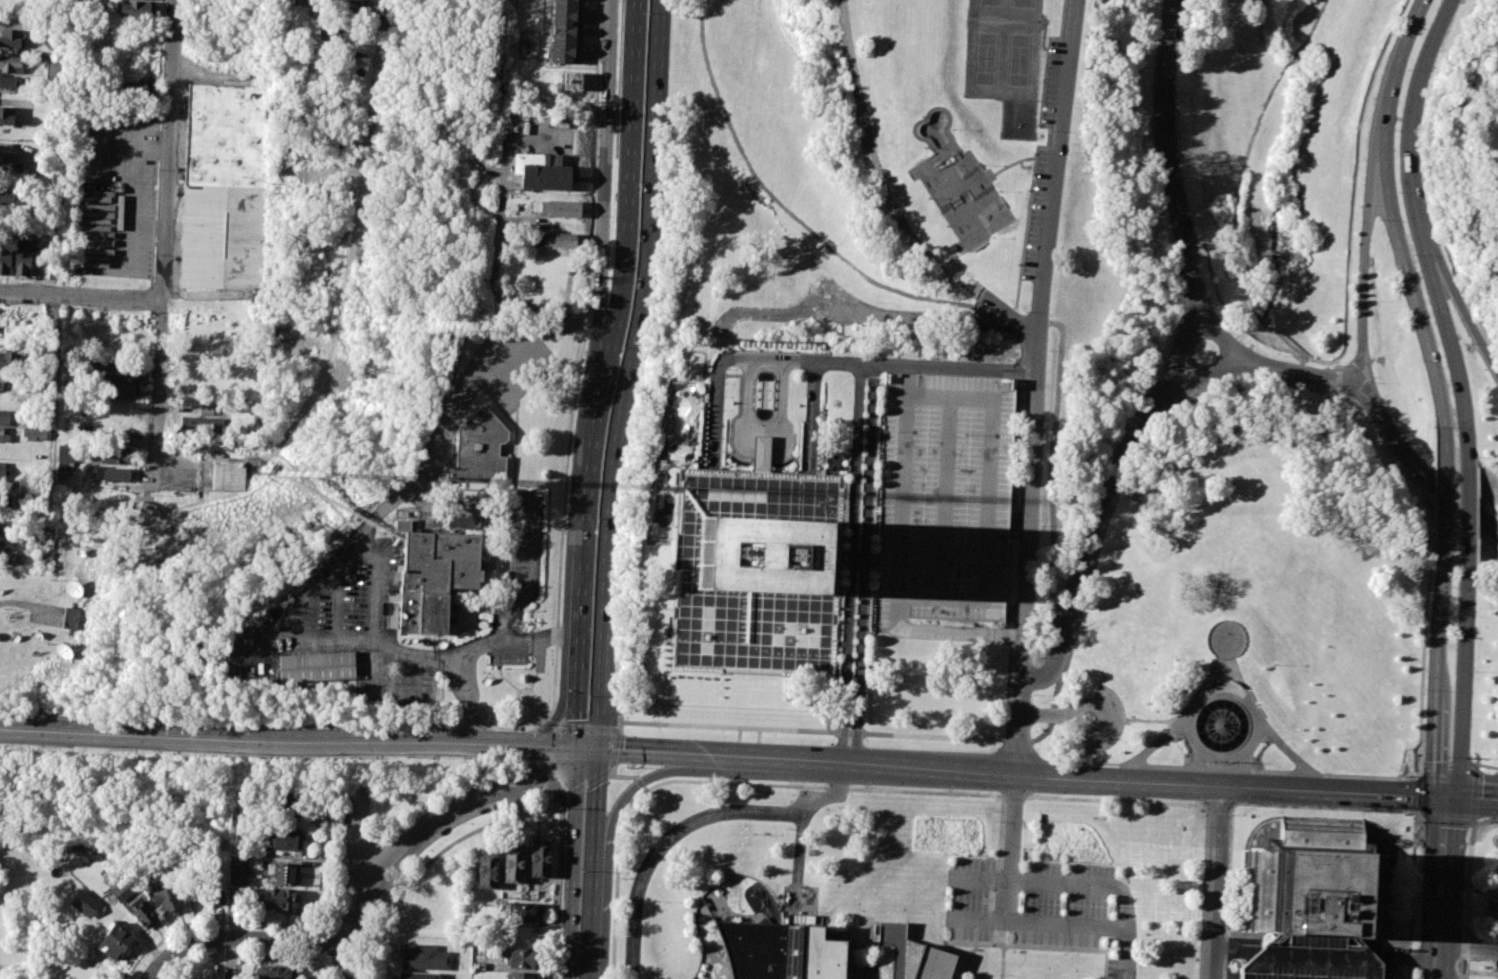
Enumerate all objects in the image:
building: (299, 2)
building: (136, 9)
street lamp: (646, 13)
building: (352, 15)
road: (845, 17)
building: (566, 31)
building: (341, 33)
building: (11, 38)
street lamp: (600, 40)
park: (1004, 49)
road: (380, 53)
building: (11, 64)
street lamp: (1178, 66)
road: (1287, 66)
building: (55, 68)
road: (1395, 68)
street lamp: (1407, 69)
building: (11, 81)
building: (572, 81)
street lamp: (161, 83)
building: (131, 87)
road: (1413, 110)
building: (6, 115)
park: (1020, 119)
street lamp: (1396, 133)
street lamp: (1049, 134)
street lamp: (885, 146)
street lamp: (1492, 154)
street lamp: (1179, 157)
building: (6, 161)
road: (1170, 164)
road: (1496, 164)
building: (543, 170)
street lamp: (157, 171)
road: (1354, 171)
road: (603, 182)
road: (882, 183)
park: (958, 183)
street lamp: (639, 184)
road: (631, 185)
building: (229, 186)
street lamp: (1398, 195)
building: (8, 198)
parking lot: (119, 208)
building: (557, 208)
street lamp: (594, 218)
street lamp: (1378, 219)
road: (806, 227)
building: (557, 239)
road: (163, 241)
street lamp: (1198, 247)
street lamp: (1412, 254)
building: (5, 257)
street lamp: (154, 257)
building: (23, 259)
road: (1365, 262)
road: (1245, 278)
road: (1411, 283)
road: (201, 295)
road: (1459, 296)
road: (81, 298)
street lamp: (1368, 300)
street lamp: (1, 304)
road: (992, 305)
street lamp: (61, 309)
street lamp: (149, 312)
street lamp: (1024, 312)
street lamp: (1222, 315)
park: (1155, 330)
road: (1449, 339)
road: (1038, 340)
road: (1180, 343)
street lamp: (1168, 346)
street lamp: (623, 347)
street lamp: (1282, 353)
street lamp: (1049, 355)
building: (6, 359)
road: (1229, 359)
road: (824, 361)
road: (579, 362)
road: (1337, 362)
road: (632, 364)
road: (477, 372)
building: (119, 373)
road: (1297, 373)
road: (1337, 378)
road: (55, 379)
building: (4, 382)
street lamp: (1377, 382)
street lamp: (167, 383)
parking lot: (479, 387)
building: (118, 390)
road: (1335, 391)
street lamp: (1195, 393)
road: (1359, 406)
building: (4, 417)
road: (813, 417)
building: (199, 425)
building: (29, 431)
road: (1145, 433)
building: (4, 435)
street lamp: (1044, 437)
road: (762, 439)
street lamp: (1142, 446)
street lamp: (163, 448)
building: (479, 450)
building: (66, 453)
building: (761, 453)
building: (117, 454)
road: (1419, 470)
building: (2, 471)
building: (114, 473)
building: (227, 475)
road: (1051, 477)
road: (1422, 487)
road: (1444, 488)
building: (755, 498)
building: (945, 499)
parking garage: (945, 499)
road: (1467, 504)
road: (584, 510)
street lamp: (596, 520)
parking lot: (491, 523)
street lamp: (522, 527)
road: (370, 528)
road: (1095, 529)
building: (5, 531)
street lamp: (1103, 540)
building: (757, 555)
building: (9, 558)
road: (850, 564)
road: (863, 566)
building: (433, 576)
road: (377, 590)
street lamp: (1037, 608)
street lamp: (524, 609)
parking lot: (336, 615)
building: (70, 617)
street lamp: (1081, 621)
road: (474, 644)
road: (1208, 646)
road: (1423, 646)
road: (458, 653)
road: (1225, 662)
building: (317, 667)
street lamp: (508, 667)
road: (1439, 674)
road: (1461, 678)
street lamp: (447, 689)
road: (1222, 691)
street lamp: (1033, 693)
street lamp: (589, 694)
road: (576, 703)
road: (620, 709)
road: (561, 711)
road: (1041, 713)
road: (1184, 716)
street lamp: (56, 717)
road: (1100, 718)
parking lot: (1108, 718)
road: (1133, 719)
street lamp: (148, 722)
road: (550, 722)
street lamp: (435, 724)
street lamp: (340, 725)
road: (557, 726)
fountain: (1222, 726)
street lamp: (246, 727)
road: (608, 728)
road: (1017, 728)
road: (807, 731)
road: (258, 737)
road: (586, 738)
road: (598, 739)
road: (1016, 740)
road: (1111, 743)
road: (545, 747)
street lamp: (1036, 748)
traffic signals: (574, 749)
road: (586, 749)
traffic signals: (598, 750)
road: (1023, 751)
road: (660, 753)
road: (1219, 755)
street lamp: (351, 757)
road: (1476, 757)
road: (1197, 758)
street lamp: (1476, 758)
flagpole: (1204, 760)
road: (1244, 760)
road: (1410, 760)
flagpole: (1215, 761)
flagpole: (1226, 761)
road: (557, 762)
flagpole: (1237, 762)
road: (1476, 764)
road: (1448, 765)
road: (1487, 765)
street lamp: (626, 766)
road: (869, 767)
road: (1229, 769)
road: (1418, 771)
street lamp: (1404, 775)
road: (628, 776)
road: (534, 779)
road: (644, 779)
street lamp: (709, 779)
road: (841, 781)
road: (1117, 781)
street lamp: (788, 783)
road: (584, 785)
street lamp: (866, 786)
street lamp: (949, 790)
road: (930, 792)
road: (1331, 792)
street lamp: (1032, 794)
road: (1417, 794)
road: (1473, 794)
traffic signals: (1444, 797)
road: (1471, 797)
street lamp: (1115, 798)
road: (557, 799)
street lamp: (1196, 801)
street lamp: (1244, 803)
street lamp: (1329, 807)
street lamp: (824, 809)
building: (283, 810)
street lamp: (1233, 814)
road: (1419, 816)
road: (1447, 819)
street lamp: (1417, 821)
road: (1484, 821)
street lamp: (1490, 821)
road: (1013, 827)
road: (683, 828)
street lamp: (753, 833)
building: (285, 839)
road: (1216, 842)
street lamp: (1022, 847)
road: (800, 850)
road: (431, 857)
building: (539, 857)
road: (998, 857)
road: (381, 862)
building: (513, 863)
road: (570, 864)
road: (592, 864)
road: (324, 867)
street lamp: (581, 869)
building: (487, 870)
building: (236, 871)
building: (284, 873)
road: (978, 877)
building: (1316, 881)
road: (1111, 885)
road: (1441, 888)
road: (556, 889)
road: (1228, 892)
building: (118, 894)
road: (1411, 894)
building: (215, 895)
building: (167, 898)
building: (280, 898)
parking lot: (799, 898)
street lamp: (657, 899)
road: (1468, 900)
street lamp: (1020, 901)
building: (84, 903)
street lamp: (1230, 903)
street lamp: (1110, 907)
parking lot: (1044, 908)
building: (524, 911)
road: (120, 912)
building: (143, 913)
road: (976, 919)
road: (1046, 923)
road: (840, 933)
road: (242, 938)
road: (1212, 939)
building: (114, 940)
road: (320, 941)
road: (964, 941)
street lamp: (855, 942)
road: (864, 945)
road: (1036, 945)
road: (1468, 948)
building: (753, 949)
street lamp: (969, 949)
street lamp: (1012, 951)
road: (240, 954)
street lamp: (1063, 954)
building: (818, 955)
building: (909, 955)
building: (424, 957)
building: (1318, 957)
parking garage: (1318, 957)
building: (524, 958)
road: (1002, 961)
road: (319, 964)
building: (275, 972)
street lamp: (1100, 974)
building: (416, 975)
building: (523, 975)
building: (188, 978)

